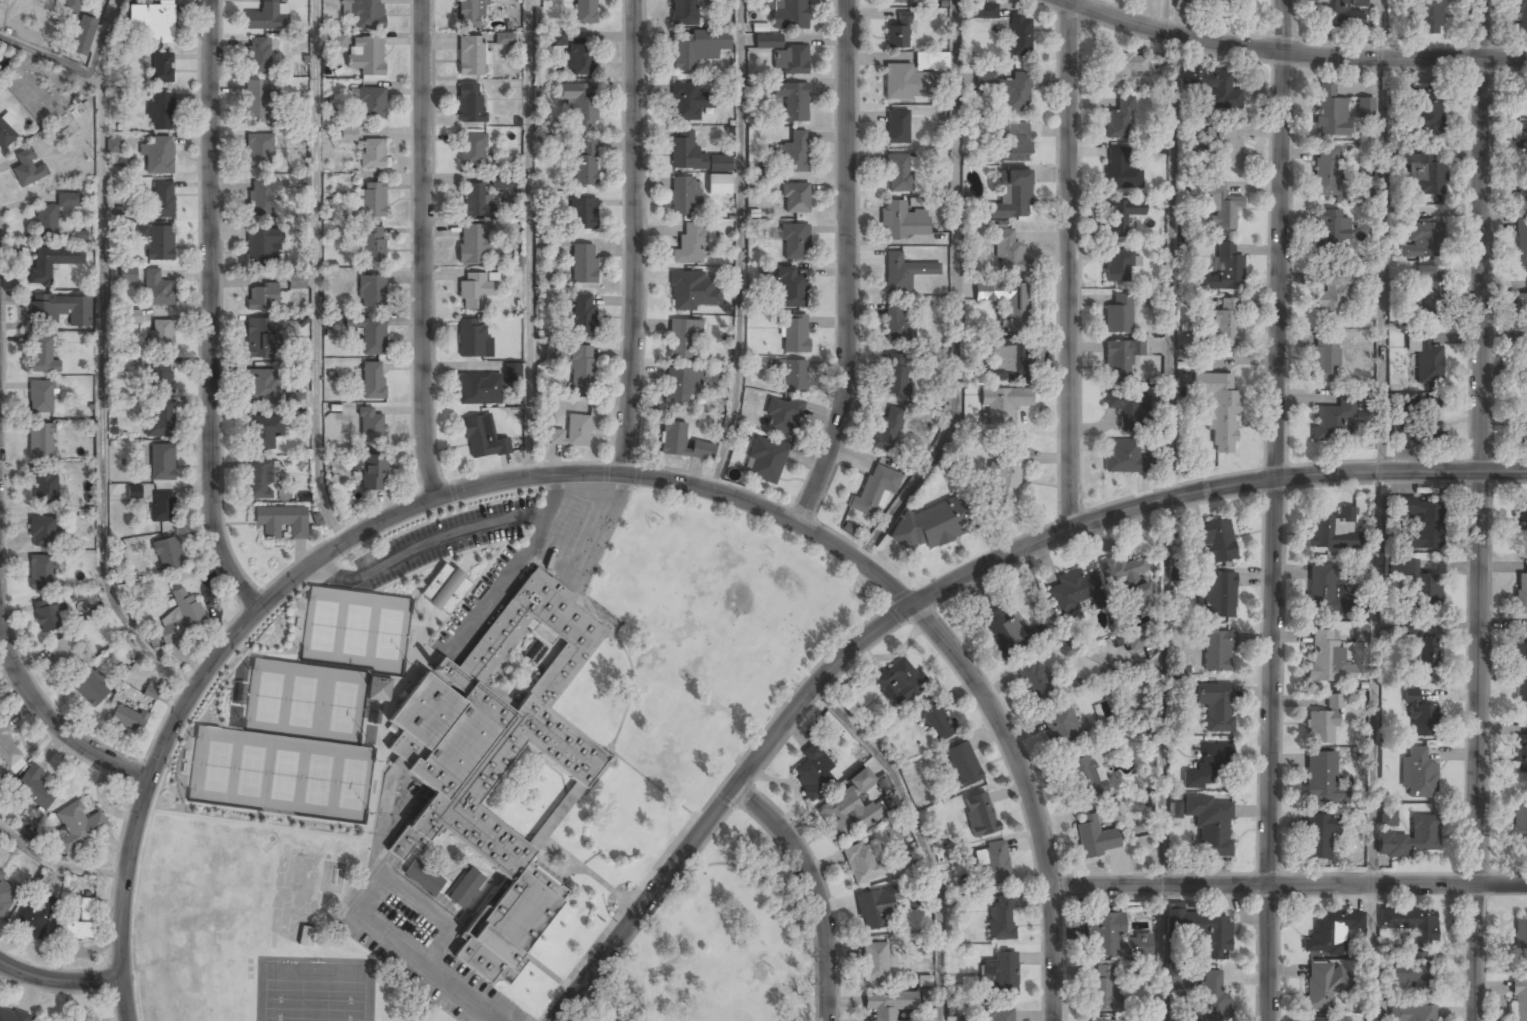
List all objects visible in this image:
building: (545, 0)
building: (905, 1)
building: (72, 5)
building: (1185, 5)
building: (1227, 7)
building: (984, 10)
building: (584, 12)
building: (363, 13)
building: (684, 13)
building: (470, 14)
building: (1340, 14)
building: (789, 15)
building: (1428, 15)
building: (1521, 16)
building: (266, 17)
building: (159, 24)
building: (898, 34)
building: (83, 35)
building: (1020, 37)
building: (504, 38)
building: (557, 38)
building: (337, 40)
building: (768, 41)
building: (696, 47)
road: (1293, 53)
building: (258, 55)
building: (366, 56)
building: (470, 57)
road: (52, 58)
building: (580, 60)
building: (789, 61)
building: (931, 61)
building: (161, 68)
building: (1122, 70)
building: (901, 81)
building: (1214, 88)
building: (1015, 94)
building: (1522, 94)
building: (686, 102)
building: (791, 102)
building: (257, 103)
building: (368, 103)
building: (469, 104)
building: (579, 106)
building: (1365, 106)
building: (160, 112)
building: (1330, 113)
building: (1429, 116)
building: (1120, 120)
building: (897, 127)
building: (348, 134)
building: (5, 135)
building: (1520, 139)
building: (1014, 143)
building: (112, 146)
building: (1223, 146)
building: (259, 150)
building: (472, 150)
building: (372, 154)
building: (794, 154)
building: (693, 155)
building: (157, 156)
building: (585, 166)
building: (27, 169)
building: (1120, 170)
building: (1328, 171)
building: (1426, 173)
building: (898, 174)
building: (503, 181)
building: (719, 185)
building: (1522, 191)
road: (529, 193)
building: (684, 195)
building: (163, 199)
building: (262, 199)
building: (795, 199)
building: (371, 201)
building: (475, 201)
building: (1013, 201)
building: (1221, 206)
building: (582, 214)
building: (52, 216)
building: (1121, 217)
building: (902, 221)
building: (136, 230)
building: (1331, 231)
road: (633, 238)
building: (1423, 239)
building: (160, 243)
building: (794, 243)
building: (1522, 243)
building: (372, 245)
building: (472, 245)
building: (689, 245)
building: (263, 247)
road: (740, 248)
road: (1171, 248)
road: (424, 250)
building: (1007, 251)
road: (1071, 262)
building: (52, 263)
building: (583, 265)
building: (1119, 266)
road: (845, 267)
building: (1225, 269)
building: (904, 273)
building: (127, 274)
road: (315, 275)
building: (297, 280)
building: (157, 289)
building: (788, 289)
building: (474, 291)
building: (692, 291)
building: (1431, 291)
building: (371, 292)
building: (1333, 294)
road: (957, 296)
building: (261, 297)
building: (1001, 301)
road: (222, 308)
building: (1521, 309)
building: (59, 310)
building: (1119, 314)
building: (582, 315)
building: (133, 316)
building: (898, 324)
building: (1221, 328)
building: (161, 334)
building: (370, 336)
building: (794, 336)
building: (263, 338)
building: (683, 338)
building: (473, 341)
building: (42, 356)
building: (1526, 356)
building: (1325, 358)
building: (1426, 358)
building: (1121, 360)
building: (1203, 361)
road: (103, 362)
building: (1001, 362)
building: (581, 369)
building: (512, 372)
building: (896, 374)
building: (161, 377)
building: (794, 377)
building: (373, 381)
building: (262, 385)
building: (680, 386)
building: (479, 389)
building: (40, 397)
building: (295, 399)
building: (1001, 405)
building: (1218, 409)
building: (1129, 410)
building: (781, 415)
building: (1332, 420)
building: (160, 421)
building: (1419, 422)
building: (1522, 423)
building: (370, 427)
building: (887, 428)
building: (263, 432)
building: (571, 433)
building: (482, 438)
building: (40, 443)
building: (682, 444)
building: (1124, 457)
building: (765, 459)
building: (162, 463)
building: (371, 472)
building: (1006, 474)
building: (259, 480)
building: (45, 488)
building: (874, 490)
building: (134, 491)
road: (1207, 491)
building: (162, 508)
road: (1275, 510)
road: (1376, 510)
road: (1477, 510)
building: (1522, 516)
building: (281, 521)
building: (1418, 522)
building: (931, 524)
building: (1334, 530)
building: (42, 532)
road: (1, 536)
building: (1213, 540)
building: (168, 555)
road: (855, 561)
road: (310, 568)
building: (42, 571)
building: (1127, 579)
building: (445, 588)
building: (1424, 589)
building: (1327, 590)
building: (1521, 592)
building: (1069, 593)
building: (1217, 594)
building: (1362, 610)
building: (48, 615)
building: (181, 618)
park: (319, 626)
park: (354, 630)
building: (1002, 630)
park: (387, 635)
building: (1135, 639)
building: (1421, 649)
building: (1217, 651)
building: (64, 655)
building: (1327, 658)
building: (1521, 671)
building: (1036, 681)
building: (900, 683)
building: (379, 687)
building: (91, 688)
park: (265, 695)
park: (301, 700)
building: (1334, 701)
building: (1216, 704)
park: (340, 705)
building: (1421, 716)
building: (128, 719)
building: (936, 722)
building: (1059, 727)
building: (1322, 729)
building: (8, 751)
building: (1520, 755)
road: (1163, 758)
park: (211, 764)
building: (495, 764)
building: (963, 764)
building: (1208, 764)
park: (247, 769)
park: (281, 773)
building: (812, 773)
building: (1418, 774)
park: (315, 778)
building: (1083, 779)
building: (1321, 779)
park: (349, 783)
building: (31, 792)
road: (1028, 796)
road: (720, 802)
building: (851, 805)
building: (1174, 809)
building: (980, 814)
building: (1387, 818)
building: (1519, 823)
building: (1210, 825)
building: (77, 826)
road: (919, 835)
building: (1095, 837)
building: (1318, 837)
building: (1410, 837)
building: (992, 862)
road: (57, 863)
building: (862, 864)
building: (423, 877)
road: (1288, 885)
building: (466, 889)
road: (814, 889)
building: (7, 893)
building: (873, 910)
building: (1001, 919)
building: (31, 920)
building: (81, 923)
building: (1410, 923)
building: (1200, 928)
building: (1331, 933)
building: (1520, 933)
building: (305, 937)
building: (1113, 938)
park: (720, 943)
building: (874, 963)
building: (1407, 972)
building: (998, 975)
building: (1177, 975)
road: (58, 980)
building: (1323, 986)
building: (1103, 987)
park: (311, 988)
building: (1212, 998)
building: (1519, 1000)
building: (888, 1005)
building: (1412, 1014)
building: (1000, 1015)
building: (11, 1016)
building: (84, 1020)
building: (1102, 1020)
building: (1324, 1020)

